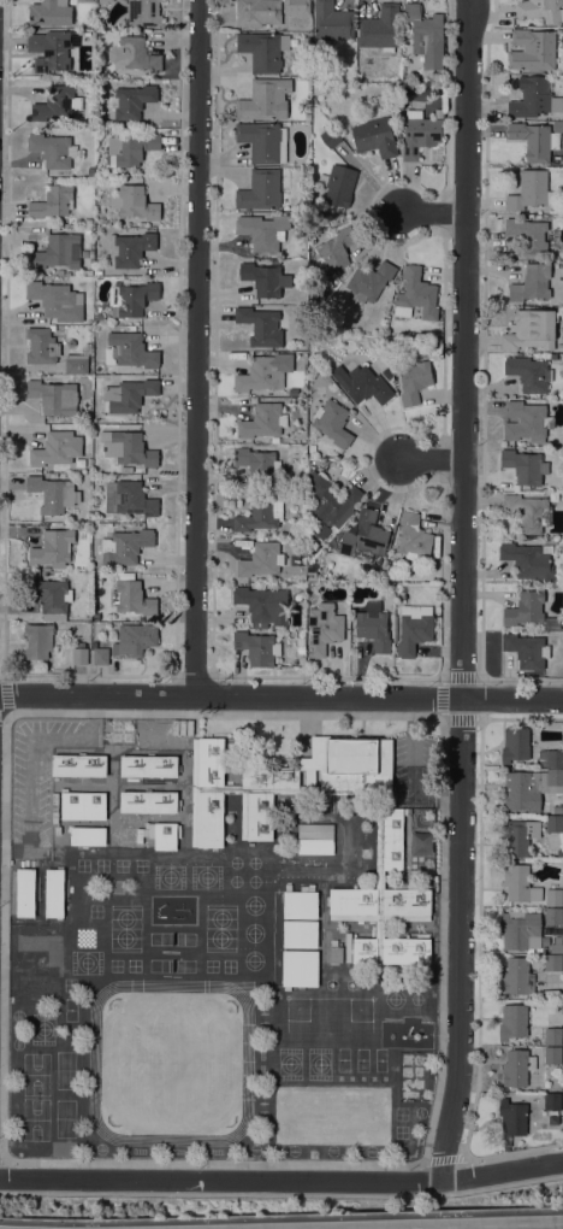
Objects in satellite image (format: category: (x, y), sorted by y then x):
building: (82, 0)
building: (103, 1)
building: (296, 6)
building: (539, 10)
building: (49, 12)
building: (144, 12)
building: (257, 12)
building: (331, 22)
building: (380, 28)
building: (426, 35)
building: (51, 47)
building: (262, 49)
building: (532, 49)
building: (134, 54)
building: (534, 98)
building: (265, 99)
building: (132, 100)
building: (57, 102)
building: (420, 133)
building: (374, 135)
building: (330, 136)
building: (535, 139)
building: (263, 141)
building: (130, 148)
building: (51, 149)
building: (338, 183)
building: (260, 189)
building: (529, 190)
building: (53, 201)
building: (135, 202)
road: (433, 213)
building: (263, 231)
building: (528, 235)
building: (130, 247)
building: (336, 249)
building: (59, 252)
building: (97, 271)
building: (265, 277)
building: (371, 280)
building: (532, 282)
building: (415, 294)
building: (131, 298)
building: (57, 300)
building: (356, 302)
building: (100, 317)
building: (261, 325)
building: (531, 329)
building: (435, 340)
building: (42, 345)
building: (131, 348)
road: (197, 348)
building: (76, 364)
building: (265, 372)
building: (529, 372)
building: (108, 377)
building: (414, 381)
building: (361, 383)
building: (292, 392)
building: (129, 394)
building: (54, 396)
building: (85, 406)
building: (263, 421)
building: (527, 421)
building: (332, 422)
building: (128, 447)
building: (57, 448)
road: (431, 458)
building: (257, 463)
building: (525, 465)
building: (53, 493)
building: (129, 498)
building: (330, 505)
building: (260, 511)
building: (529, 512)
building: (365, 537)
building: (414, 537)
building: (126, 545)
building: (53, 547)
building: (260, 559)
building: (528, 560)
building: (310, 571)
road: (462, 592)
building: (49, 594)
building: (132, 598)
building: (262, 605)
building: (525, 607)
building: (374, 627)
building: (324, 628)
building: (414, 628)
building: (135, 639)
building: (38, 640)
building: (301, 645)
building: (256, 647)
building: (527, 649)
building: (100, 652)
building: (79, 655)
road: (280, 696)
road: (79, 735)
building: (514, 745)
building: (547, 757)
building: (78, 764)
building: (149, 765)
road: (30, 788)
building: (232, 788)
building: (529, 788)
building: (331, 789)
building: (207, 792)
building: (148, 801)
building: (83, 805)
building: (558, 808)
building: (555, 823)
building: (88, 835)
building: (165, 836)
building: (517, 836)
building: (315, 839)
road: (19, 849)
building: (379, 878)
building: (520, 883)
building: (25, 892)
building: (54, 893)
building: (553, 896)
building: (301, 904)
building: (379, 904)
building: (553, 921)
building: (379, 928)
building: (520, 929)
building: (300, 934)
building: (557, 945)
building: (336, 953)
building: (391, 953)
building: (31, 960)
building: (553, 962)
building: (300, 968)
building: (517, 976)
building: (512, 1021)
building: (553, 1036)
building: (552, 1054)
building: (516, 1068)
building: (552, 1100)
building: (512, 1117)
road: (281, 1182)
road: (464, 1225)

